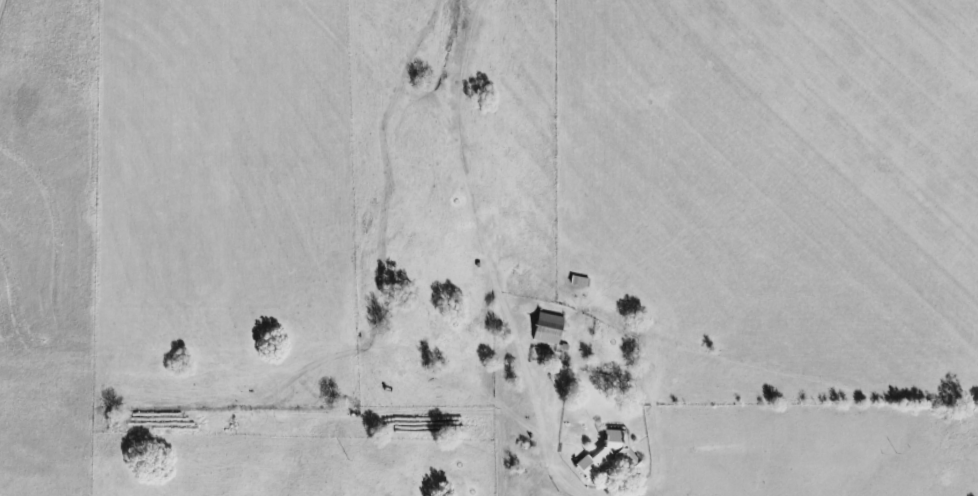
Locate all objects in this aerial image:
building: (548, 328)
building: (607, 457)
road: (488, 461)

